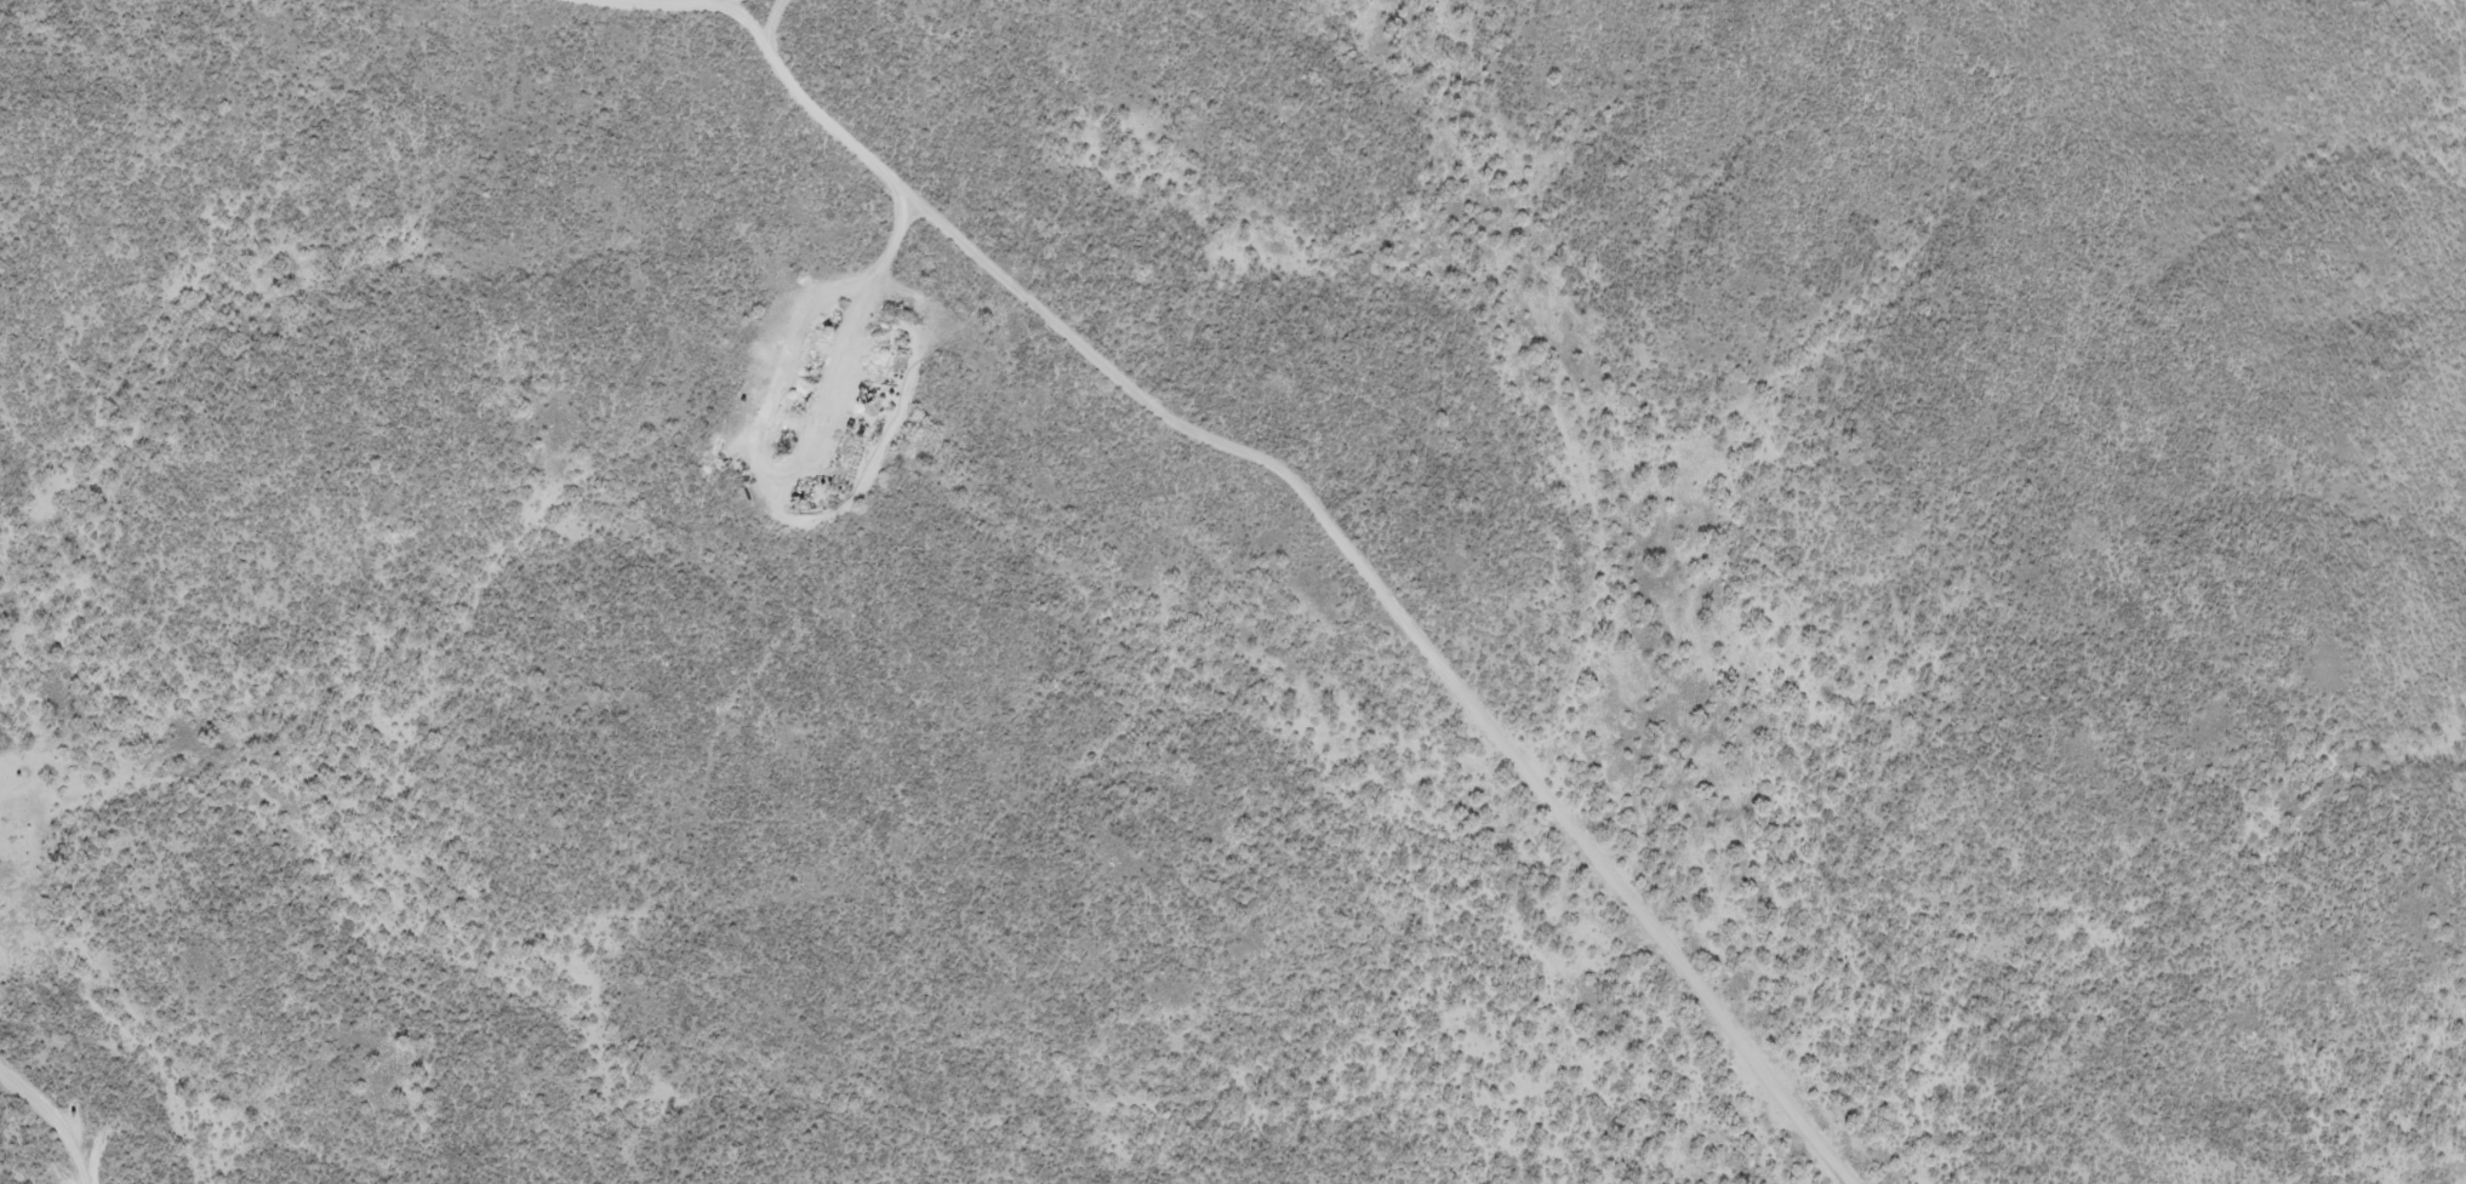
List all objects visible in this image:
road: (666, 7)
road: (33, 1140)

